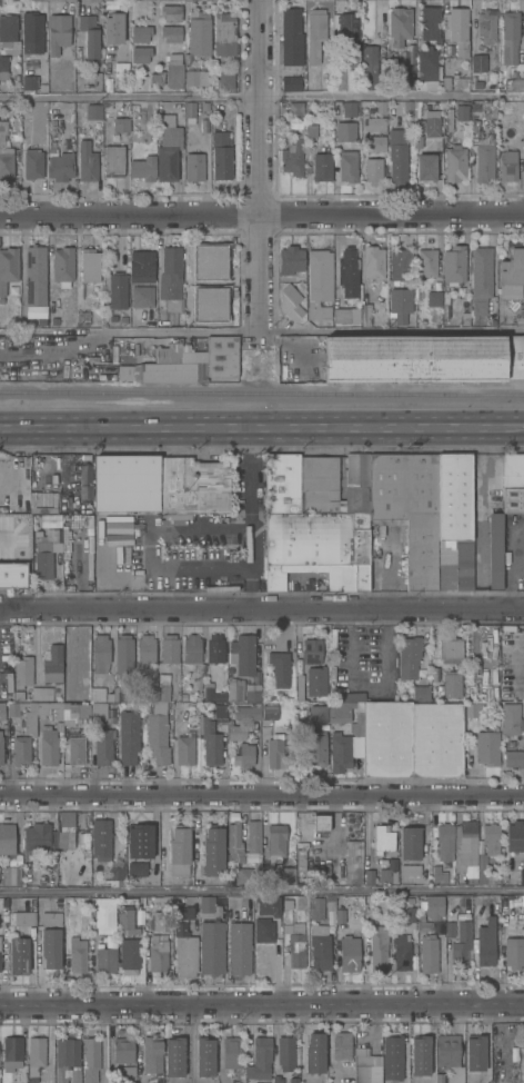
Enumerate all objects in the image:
building: (171, 12)
building: (430, 23)
building: (399, 26)
building: (486, 26)
building: (113, 28)
building: (457, 28)
building: (8, 30)
building: (32, 31)
building: (58, 32)
building: (171, 32)
building: (89, 33)
building: (140, 33)
building: (199, 33)
building: (224, 33)
building: (315, 33)
building: (510, 36)
building: (290, 38)
building: (523, 39)
building: (347, 40)
building: (140, 53)
building: (406, 61)
building: (478, 62)
building: (391, 66)
building: (3, 67)
building: (369, 67)
building: (429, 68)
building: (121, 69)
building: (174, 71)
building: (158, 77)
building: (196, 77)
building: (97, 79)
building: (340, 79)
building: (29, 81)
building: (224, 81)
building: (290, 82)
building: (445, 82)
building: (516, 83)
building: (481, 85)
road: (262, 98)
building: (134, 107)
building: (381, 107)
building: (409, 107)
building: (295, 108)
building: (482, 108)
building: (505, 108)
building: (12, 109)
building: (350, 109)
building: (93, 111)
building: (190, 111)
building: (461, 113)
building: (120, 116)
building: (449, 120)
building: (107, 121)
building: (523, 122)
building: (375, 123)
building: (430, 123)
building: (311, 130)
building: (345, 130)
building: (375, 142)
building: (168, 148)
building: (6, 153)
building: (221, 155)
building: (397, 155)
building: (292, 158)
building: (87, 161)
building: (113, 161)
building: (33, 162)
building: (455, 162)
building: (484, 162)
building: (60, 166)
building: (194, 166)
building: (322, 166)
building: (347, 166)
building: (508, 166)
road: (258, 167)
building: (425, 167)
building: (143, 168)
building: (373, 170)
road: (261, 218)
building: (206, 248)
building: (291, 259)
building: (373, 262)
building: (426, 262)
building: (400, 264)
building: (62, 265)
building: (90, 265)
building: (141, 265)
building: (453, 265)
building: (8, 267)
building: (196, 270)
building: (347, 272)
building: (34, 275)
building: (511, 275)
building: (170, 278)
building: (481, 278)
building: (319, 282)
building: (187, 286)
building: (118, 290)
building: (142, 296)
building: (434, 298)
building: (1, 299)
building: (401, 302)
building: (294, 311)
building: (198, 315)
building: (365, 315)
building: (341, 316)
building: (82, 317)
building: (112, 319)
building: (122, 320)
building: (53, 321)
building: (225, 321)
building: (40, 322)
building: (493, 322)
road: (262, 332)
building: (222, 355)
building: (423, 358)
building: (162, 371)
railway: (262, 393)
road: (261, 428)
building: (178, 473)
road: (248, 479)
building: (127, 483)
building: (513, 483)
building: (74, 484)
building: (319, 484)
building: (356, 484)
building: (402, 485)
building: (212, 486)
building: (40, 489)
building: (179, 501)
building: (454, 521)
building: (117, 530)
road: (201, 531)
building: (309, 533)
road: (250, 549)
building: (422, 550)
building: (494, 550)
building: (42, 560)
road: (201, 568)
building: (11, 576)
road: (507, 580)
road: (262, 606)
building: (145, 648)
building: (169, 648)
building: (191, 648)
building: (214, 648)
building: (449, 649)
building: (311, 650)
building: (100, 652)
building: (242, 654)
building: (407, 657)
building: (52, 664)
building: (280, 667)
building: (123, 668)
building: (21, 672)
building: (316, 680)
building: (451, 684)
building: (163, 686)
building: (300, 686)
building: (208, 689)
building: (242, 690)
building: (151, 693)
building: (420, 693)
building: (6, 694)
building: (41, 694)
building: (97, 694)
building: (345, 696)
building: (80, 711)
building: (99, 711)
building: (220, 711)
building: (270, 711)
building: (340, 711)
building: (2, 712)
building: (248, 712)
building: (475, 712)
building: (31, 713)
building: (318, 713)
building: (512, 718)
building: (235, 731)
building: (128, 737)
building: (157, 737)
building: (412, 738)
building: (210, 742)
building: (48, 745)
building: (345, 745)
building: (103, 746)
building: (487, 746)
building: (184, 747)
building: (315, 747)
building: (19, 749)
building: (75, 749)
building: (1, 751)
building: (276, 753)
building: (244, 755)
building: (513, 758)
road: (262, 794)
building: (67, 821)
building: (320, 822)
building: (515, 835)
building: (233, 836)
building: (253, 836)
building: (7, 837)
building: (36, 837)
building: (100, 838)
building: (382, 838)
building: (139, 841)
building: (444, 841)
building: (410, 842)
building: (276, 843)
building: (473, 851)
building: (178, 852)
building: (301, 858)
building: (354, 862)
building: (137, 868)
building: (410, 870)
building: (117, 872)
building: (389, 872)
building: (214, 873)
building: (10, 874)
building: (248, 875)
building: (278, 875)
building: (439, 875)
building: (512, 876)
building: (370, 877)
road: (262, 891)
building: (330, 903)
building: (268, 905)
building: (209, 906)
building: (434, 906)
building: (316, 908)
building: (183, 912)
building: (238, 912)
building: (104, 914)
building: (124, 916)
building: (337, 916)
building: (24, 917)
building: (51, 918)
building: (161, 921)
building: (423, 924)
building: (442, 928)
building: (263, 930)
building: (485, 942)
building: (295, 944)
building: (461, 944)
building: (211, 947)
building: (239, 947)
building: (320, 947)
building: (379, 947)
building: (50, 948)
building: (184, 951)
building: (401, 952)
building: (514, 952)
building: (158, 953)
building: (349, 953)
building: (429, 953)
building: (18, 955)
building: (107, 955)
building: (77, 956)
building: (129, 956)
road: (274, 975)
road: (262, 1004)
building: (341, 1045)
building: (123, 1050)
building: (12, 1052)
building: (231, 1052)
building: (314, 1052)
building: (475, 1052)
building: (152, 1053)
building: (285, 1053)
building: (36, 1054)
building: (420, 1055)
building: (174, 1056)
building: (204, 1056)
building: (261, 1056)
building: (392, 1056)
building: (449, 1057)
building: (62, 1059)
building: (90, 1059)
building: (366, 1065)
building: (276, 1080)
building: (293, 1080)
building: (21, 1082)

